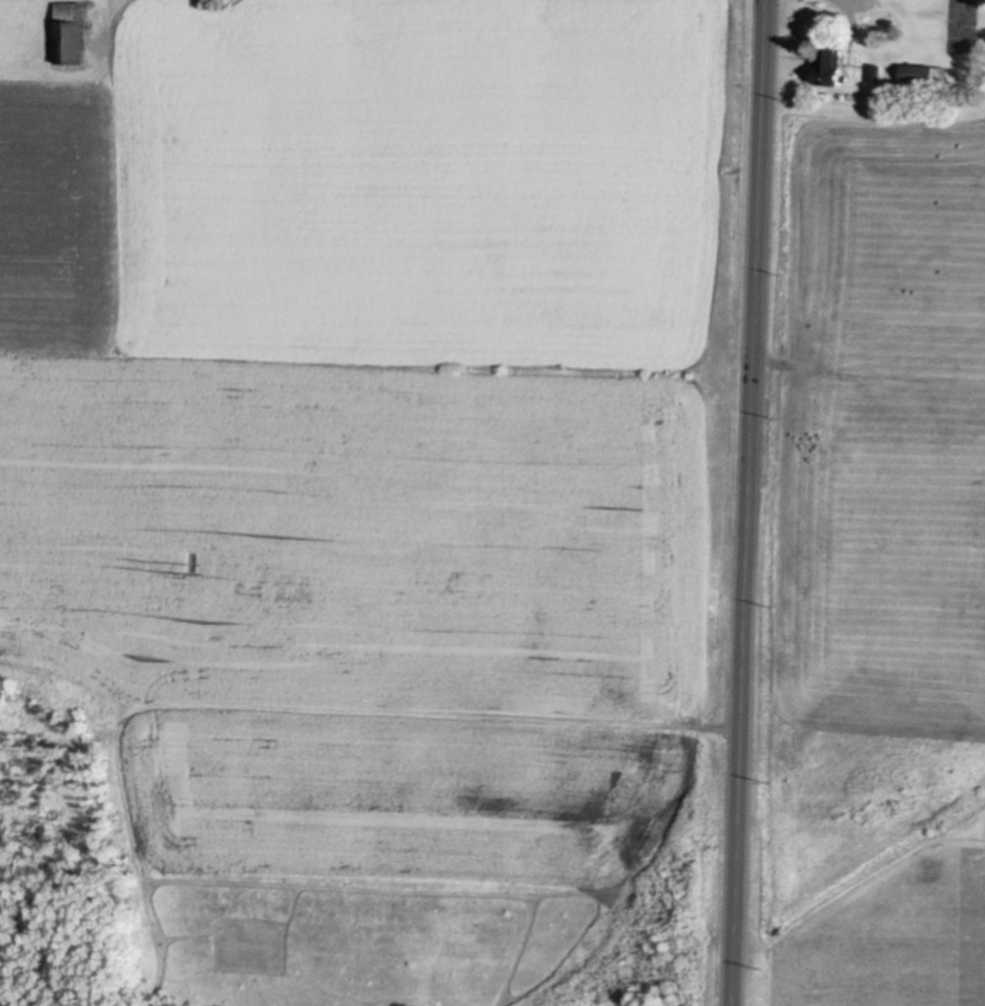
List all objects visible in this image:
building: (888, 21)
building: (72, 32)
building: (829, 66)
building: (873, 71)
building: (924, 71)
road: (750, 503)

